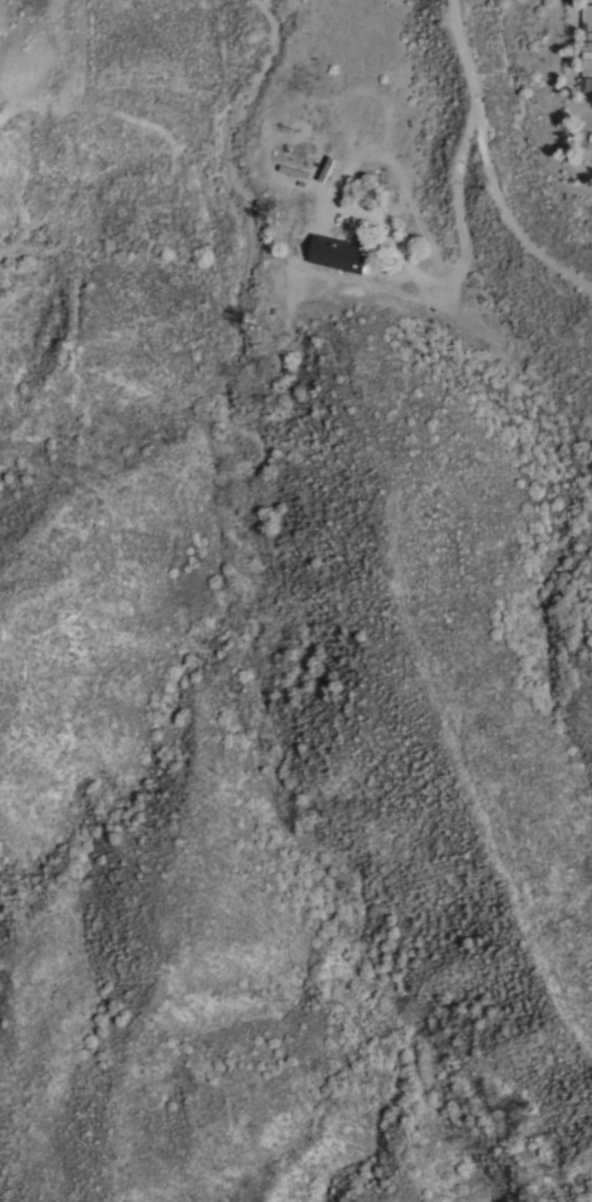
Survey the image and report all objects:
road: (489, 165)
road: (464, 219)
building: (341, 254)

